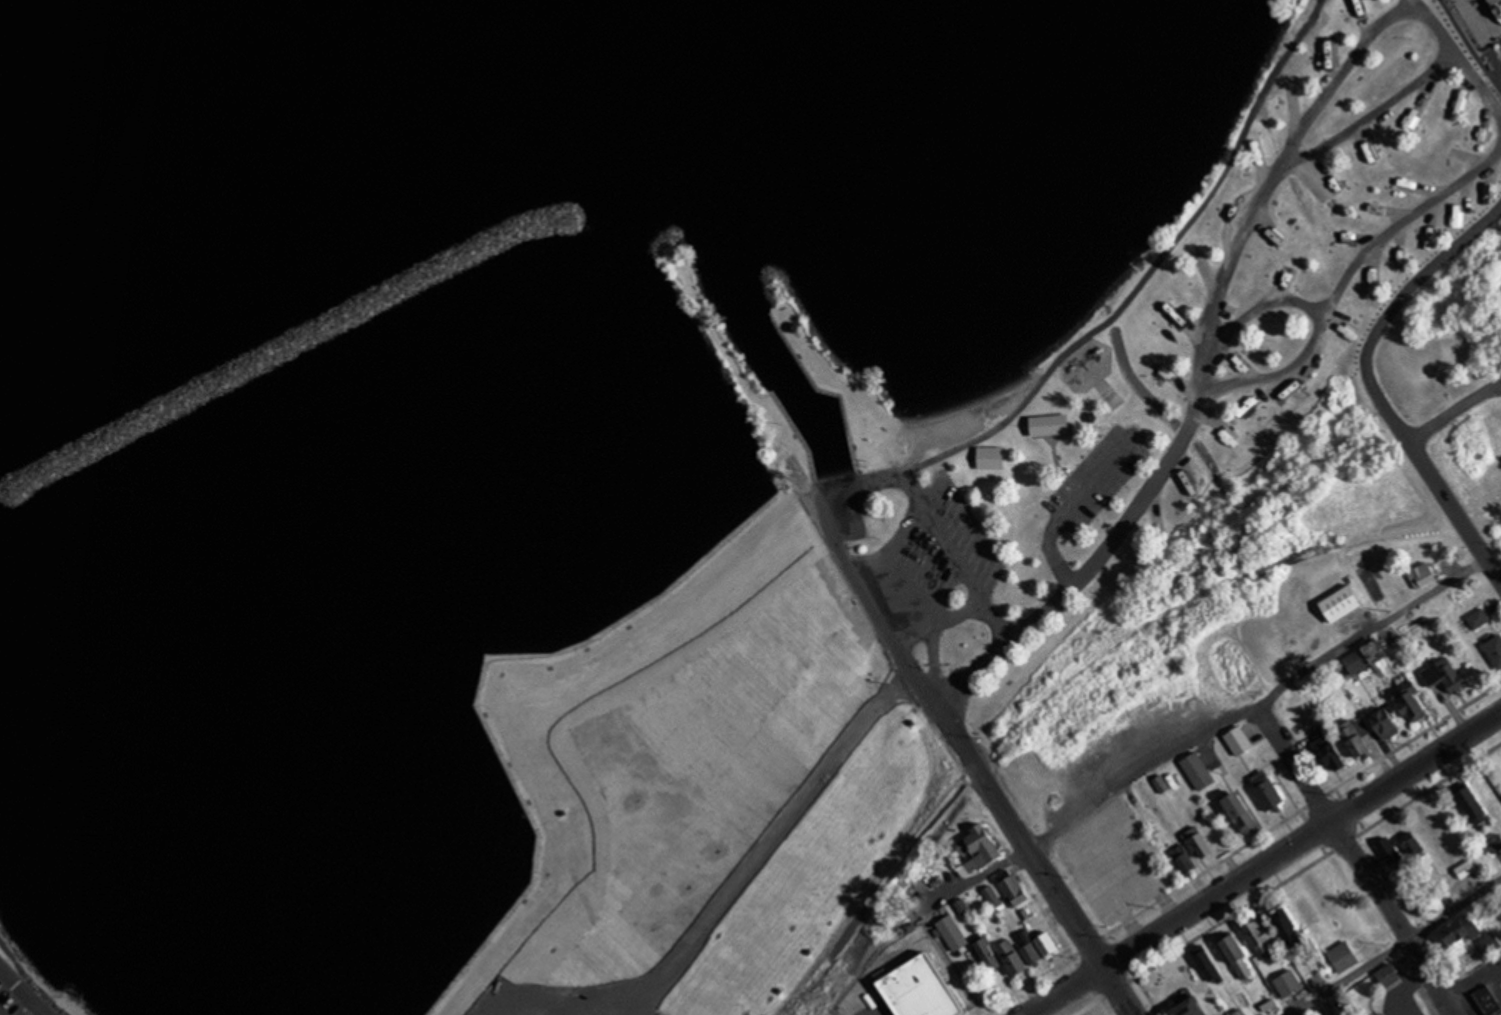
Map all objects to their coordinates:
road: (1468, 40)
building: (1331, 44)
road: (1495, 60)
road: (1477, 81)
building: (1296, 94)
park: (1168, 166)
road: (1240, 242)
road: (1343, 272)
road: (1124, 303)
road: (1391, 306)
road: (1258, 310)
building: (792, 327)
park: (1186, 380)
road: (1495, 389)
road: (1454, 410)
building: (1049, 425)
building: (990, 457)
parking lot: (1095, 479)
road: (1062, 505)
road: (1453, 511)
park: (1488, 525)
road: (939, 526)
building: (1154, 526)
parking lot: (925, 568)
building: (1422, 575)
road: (921, 595)
building: (1341, 603)
building: (1478, 618)
road: (937, 619)
building: (1494, 650)
building: (1366, 657)
building: (616, 660)
road: (484, 669)
building: (1442, 675)
building: (617, 701)
building: (1410, 702)
building: (1384, 723)
road: (944, 725)
building: (1356, 736)
building: (635, 738)
road: (1211, 738)
building: (1238, 740)
building: (1329, 753)
building: (1197, 769)
building: (1160, 784)
building: (1266, 790)
building: (1470, 804)
building: (1240, 812)
building: (1198, 842)
building: (1494, 843)
road: (1244, 844)
building: (1411, 844)
road: (762, 847)
building: (978, 849)
building: (1388, 851)
building: (1183, 859)
road: (1356, 862)
road: (1264, 863)
building: (1464, 869)
road: (1285, 878)
building: (1011, 887)
building: (991, 897)
building: (962, 906)
building: (1288, 928)
building: (1460, 930)
building: (953, 932)
building: (1258, 936)
road: (1060, 938)
building: (1492, 940)
road: (1396, 950)
building: (1028, 951)
building: (987, 952)
building: (1235, 955)
building: (1342, 957)
building: (1206, 964)
building: (1388, 975)
building: (1287, 983)
road: (1139, 985)
road: (1401, 986)
park: (34, 988)
road: (25, 989)
building: (913, 989)
road: (1118, 990)
building: (1484, 998)
parking lot: (11, 1003)
building: (1189, 1008)
building: (1273, 1008)
building: (1238, 1013)
building: (1243, 1013)
building: (1307, 1014)

